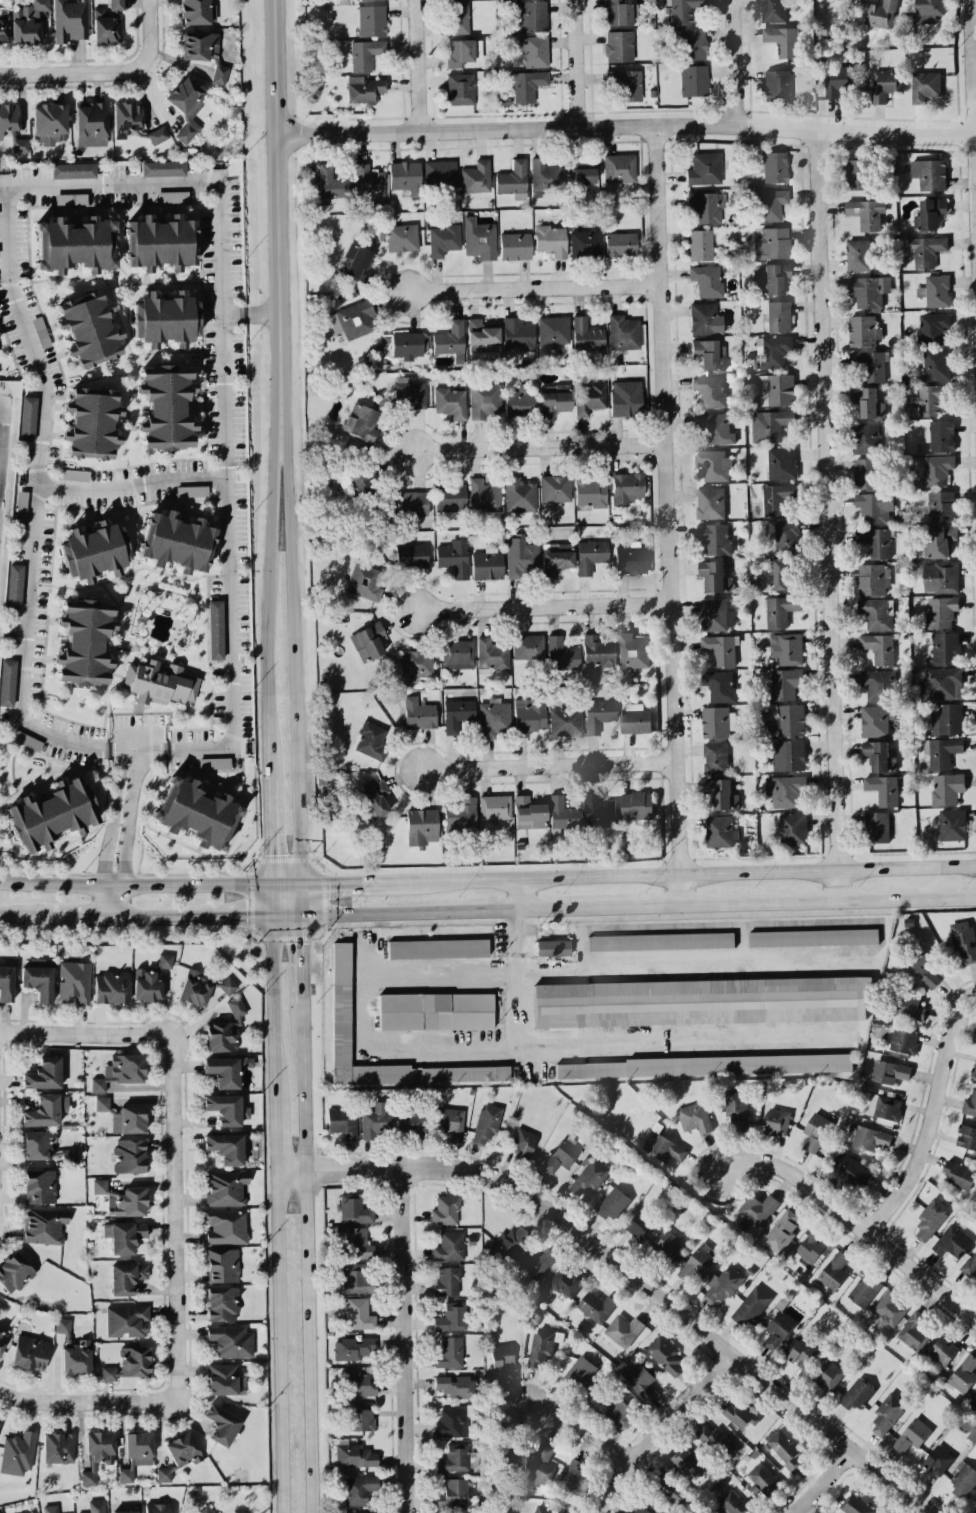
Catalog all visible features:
building: (116, 4)
building: (681, 10)
building: (928, 10)
building: (197, 11)
building: (618, 11)
building: (773, 11)
building: (880, 14)
building: (533, 15)
building: (457, 17)
building: (70, 19)
building: (371, 20)
building: (27, 22)
building: (3, 26)
building: (104, 26)
road: (148, 31)
building: (784, 40)
building: (691, 43)
building: (198, 44)
building: (618, 45)
building: (534, 50)
building: (459, 52)
building: (365, 53)
road: (735, 62)
road: (577, 63)
road: (419, 65)
road: (74, 73)
building: (219, 73)
building: (693, 80)
building: (837, 80)
road: (973, 80)
building: (526, 83)
building: (625, 83)
building: (885, 84)
building: (777, 85)
building: (925, 86)
building: (364, 88)
building: (460, 88)
building: (186, 105)
building: (8, 116)
building: (126, 117)
building: (49, 121)
building: (90, 123)
road: (627, 124)
building: (158, 134)
building: (20, 144)
building: (774, 166)
building: (163, 167)
building: (618, 167)
building: (704, 168)
building: (73, 169)
building: (582, 170)
building: (439, 173)
building: (856, 173)
building: (930, 173)
building: (544, 174)
building: (406, 176)
building: (476, 176)
building: (368, 179)
building: (513, 179)
building: (331, 182)
building: (172, 195)
building: (71, 198)
building: (769, 203)
building: (706, 206)
building: (866, 212)
building: (929, 213)
road: (279, 220)
building: (402, 237)
building: (479, 238)
building: (443, 239)
building: (551, 240)
building: (160, 242)
building: (771, 242)
building: (585, 243)
building: (620, 243)
building: (74, 244)
building: (700, 244)
building: (515, 245)
building: (926, 249)
building: (858, 254)
building: (359, 261)
building: (773, 278)
building: (706, 279)
road: (535, 288)
building: (868, 290)
building: (935, 290)
building: (778, 315)
building: (165, 318)
building: (705, 318)
building: (353, 319)
building: (932, 327)
building: (88, 329)
building: (553, 329)
building: (863, 331)
building: (623, 332)
building: (517, 334)
building: (586, 334)
building: (482, 336)
building: (407, 344)
building: (773, 351)
building: (709, 354)
building: (869, 364)
building: (937, 364)
road: (224, 387)
building: (776, 389)
building: (710, 390)
building: (410, 392)
building: (626, 397)
building: (554, 398)
building: (589, 398)
building: (928, 399)
building: (484, 400)
building: (520, 400)
building: (450, 401)
building: (868, 402)
building: (165, 406)
road: (0, 412)
building: (27, 417)
building: (361, 421)
building: (90, 422)
building: (769, 424)
building: (712, 428)
building: (940, 435)
building: (865, 437)
road: (541, 445)
building: (781, 463)
building: (713, 464)
building: (936, 469)
building: (865, 473)
building: (73, 474)
building: (358, 478)
road: (133, 482)
building: (627, 487)
building: (555, 488)
building: (191, 490)
building: (590, 492)
building: (484, 494)
building: (519, 494)
road: (40, 495)
building: (449, 497)
building: (778, 498)
building: (412, 502)
building: (710, 502)
building: (21, 506)
building: (874, 506)
building: (941, 506)
road: (670, 512)
road: (827, 514)
building: (786, 536)
building: (714, 538)
building: (938, 540)
building: (176, 541)
building: (875, 541)
building: (93, 550)
road: (291, 555)
building: (411, 555)
building: (590, 555)
building: (454, 556)
building: (521, 556)
building: (555, 557)
building: (631, 559)
building: (487, 563)
building: (780, 572)
building: (714, 576)
building: (941, 576)
building: (872, 579)
building: (365, 581)
building: (14, 585)
road: (544, 605)
building: (780, 610)
building: (941, 612)
building: (877, 613)
building: (715, 614)
building: (215, 629)
building: (367, 640)
building: (83, 641)
building: (527, 646)
building: (878, 647)
building: (945, 647)
building: (721, 648)
building: (786, 648)
building: (632, 650)
building: (597, 651)
building: (561, 653)
building: (457, 654)
building: (492, 654)
road: (268, 662)
building: (417, 662)
building: (7, 681)
building: (159, 682)
building: (941, 683)
building: (785, 684)
building: (878, 684)
building: (720, 685)
building: (419, 713)
building: (457, 714)
building: (598, 714)
building: (529, 715)
building: (494, 717)
building: (635, 718)
building: (946, 719)
building: (565, 720)
building: (789, 720)
building: (874, 720)
building: (716, 722)
building: (370, 738)
road: (136, 748)
building: (941, 751)
building: (788, 755)
building: (879, 756)
building: (715, 757)
building: (214, 762)
road: (553, 763)
road: (299, 775)
building: (946, 788)
building: (883, 789)
building: (785, 791)
building: (722, 793)
building: (374, 798)
building: (637, 805)
building: (494, 806)
building: (599, 810)
building: (196, 812)
building: (528, 812)
building: (563, 812)
building: (51, 813)
building: (460, 813)
building: (952, 824)
building: (421, 826)
building: (877, 827)
building: (792, 829)
building: (719, 831)
road: (119, 832)
road: (673, 871)
road: (336, 881)
road: (287, 882)
road: (135, 883)
road: (524, 891)
road: (302, 898)
road: (272, 899)
road: (638, 903)
road: (25, 913)
road: (287, 914)
road: (81, 915)
road: (162, 915)
road: (242, 915)
building: (813, 937)
building: (963, 939)
building: (661, 941)
building: (553, 946)
building: (437, 948)
road: (303, 958)
building: (924, 969)
building: (39, 978)
road: (471, 978)
building: (150, 980)
building: (74, 981)
building: (6, 982)
building: (227, 985)
building: (111, 987)
building: (194, 987)
building: (701, 1001)
building: (341, 1002)
building: (910, 1007)
building: (435, 1010)
building: (225, 1029)
road: (86, 1031)
building: (973, 1035)
road: (621, 1040)
building: (903, 1041)
building: (704, 1065)
building: (226, 1069)
building: (120, 1070)
building: (890, 1071)
building: (43, 1073)
building: (101, 1103)
building: (970, 1103)
building: (226, 1108)
building: (737, 1108)
building: (884, 1108)
building: (45, 1109)
building: (695, 1117)
road: (936, 1117)
building: (128, 1119)
building: (376, 1119)
building: (342, 1121)
building: (411, 1121)
building: (449, 1121)
building: (777, 1121)
building: (486, 1122)
building: (816, 1131)
building: (869, 1137)
building: (966, 1137)
building: (522, 1141)
building: (38, 1144)
building: (225, 1147)
building: (664, 1147)
building: (562, 1154)
building: (70, 1155)
building: (129, 1155)
building: (849, 1170)
building: (959, 1174)
building: (589, 1178)
building: (39, 1185)
building: (225, 1187)
building: (122, 1198)
building: (612, 1203)
building: (353, 1208)
building: (758, 1208)
building: (445, 1209)
road: (277, 1214)
road: (175, 1215)
road: (855, 1217)
building: (931, 1217)
building: (44, 1225)
building: (225, 1226)
building: (640, 1226)
building: (781, 1231)
building: (123, 1235)
building: (357, 1241)
building: (952, 1241)
building: (505, 1244)
building: (669, 1244)
building: (449, 1246)
building: (812, 1248)
road: (308, 1257)
building: (696, 1263)
building: (221, 1264)
building: (533, 1264)
building: (969, 1265)
building: (834, 1270)
building: (14, 1271)
road: (628, 1273)
building: (125, 1277)
building: (352, 1277)
building: (447, 1280)
building: (567, 1281)
building: (723, 1284)
building: (864, 1291)
building: (221, 1302)
building: (1, 1305)
building: (596, 1306)
building: (751, 1306)
building: (890, 1307)
building: (358, 1313)
building: (451, 1316)
building: (126, 1320)
building: (62, 1324)
building: (622, 1329)
building: (778, 1329)
building: (914, 1331)
building: (3, 1337)
building: (230, 1340)
road: (402, 1340)
building: (543, 1345)
building: (353, 1347)
building: (801, 1350)
building: (944, 1350)
building: (29, 1352)
building: (450, 1352)
building: (666, 1355)
building: (76, 1356)
building: (502, 1357)
building: (128, 1363)
building: (580, 1371)
building: (964, 1373)
building: (829, 1375)
building: (222, 1378)
building: (640, 1378)
building: (359, 1382)
building: (456, 1385)
building: (856, 1394)
building: (975, 1394)
road: (88, 1400)
building: (620, 1411)
building: (887, 1412)
building: (736, 1414)
building: (360, 1418)
building: (451, 1422)
road: (584, 1422)
building: (221, 1424)
building: (968, 1426)
road: (661, 1430)
building: (912, 1435)
building: (716, 1441)
building: (58, 1447)
building: (182, 1449)
building: (785, 1450)
building: (17, 1452)
building: (136, 1452)
building: (97, 1453)
building: (355, 1454)
building: (454, 1458)
building: (938, 1459)
building: (689, 1462)
building: (542, 1464)
building: (164, 1474)
building: (574, 1475)
building: (763, 1478)
building: (963, 1480)
road: (819, 1481)
building: (670, 1486)
building: (359, 1488)
building: (455, 1493)
building: (975, 1494)
building: (732, 1503)
building: (857, 1504)
building: (95, 1506)
building: (157, 1507)
building: (50, 1508)
building: (206, 1509)
building: (639, 1509)
building: (975, 1509)
building: (546, 1510)
building: (124, 1511)
building: (0, 1512)
building: (28, 1512)
building: (458, 1512)

